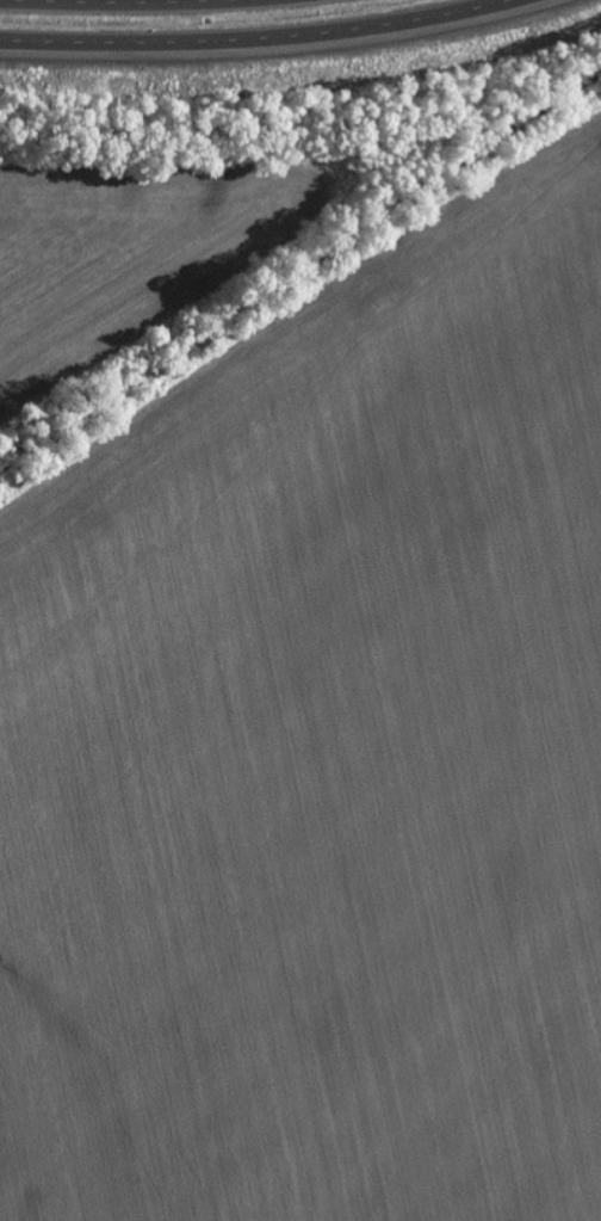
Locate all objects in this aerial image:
road: (124, 0)
road: (255, 38)

